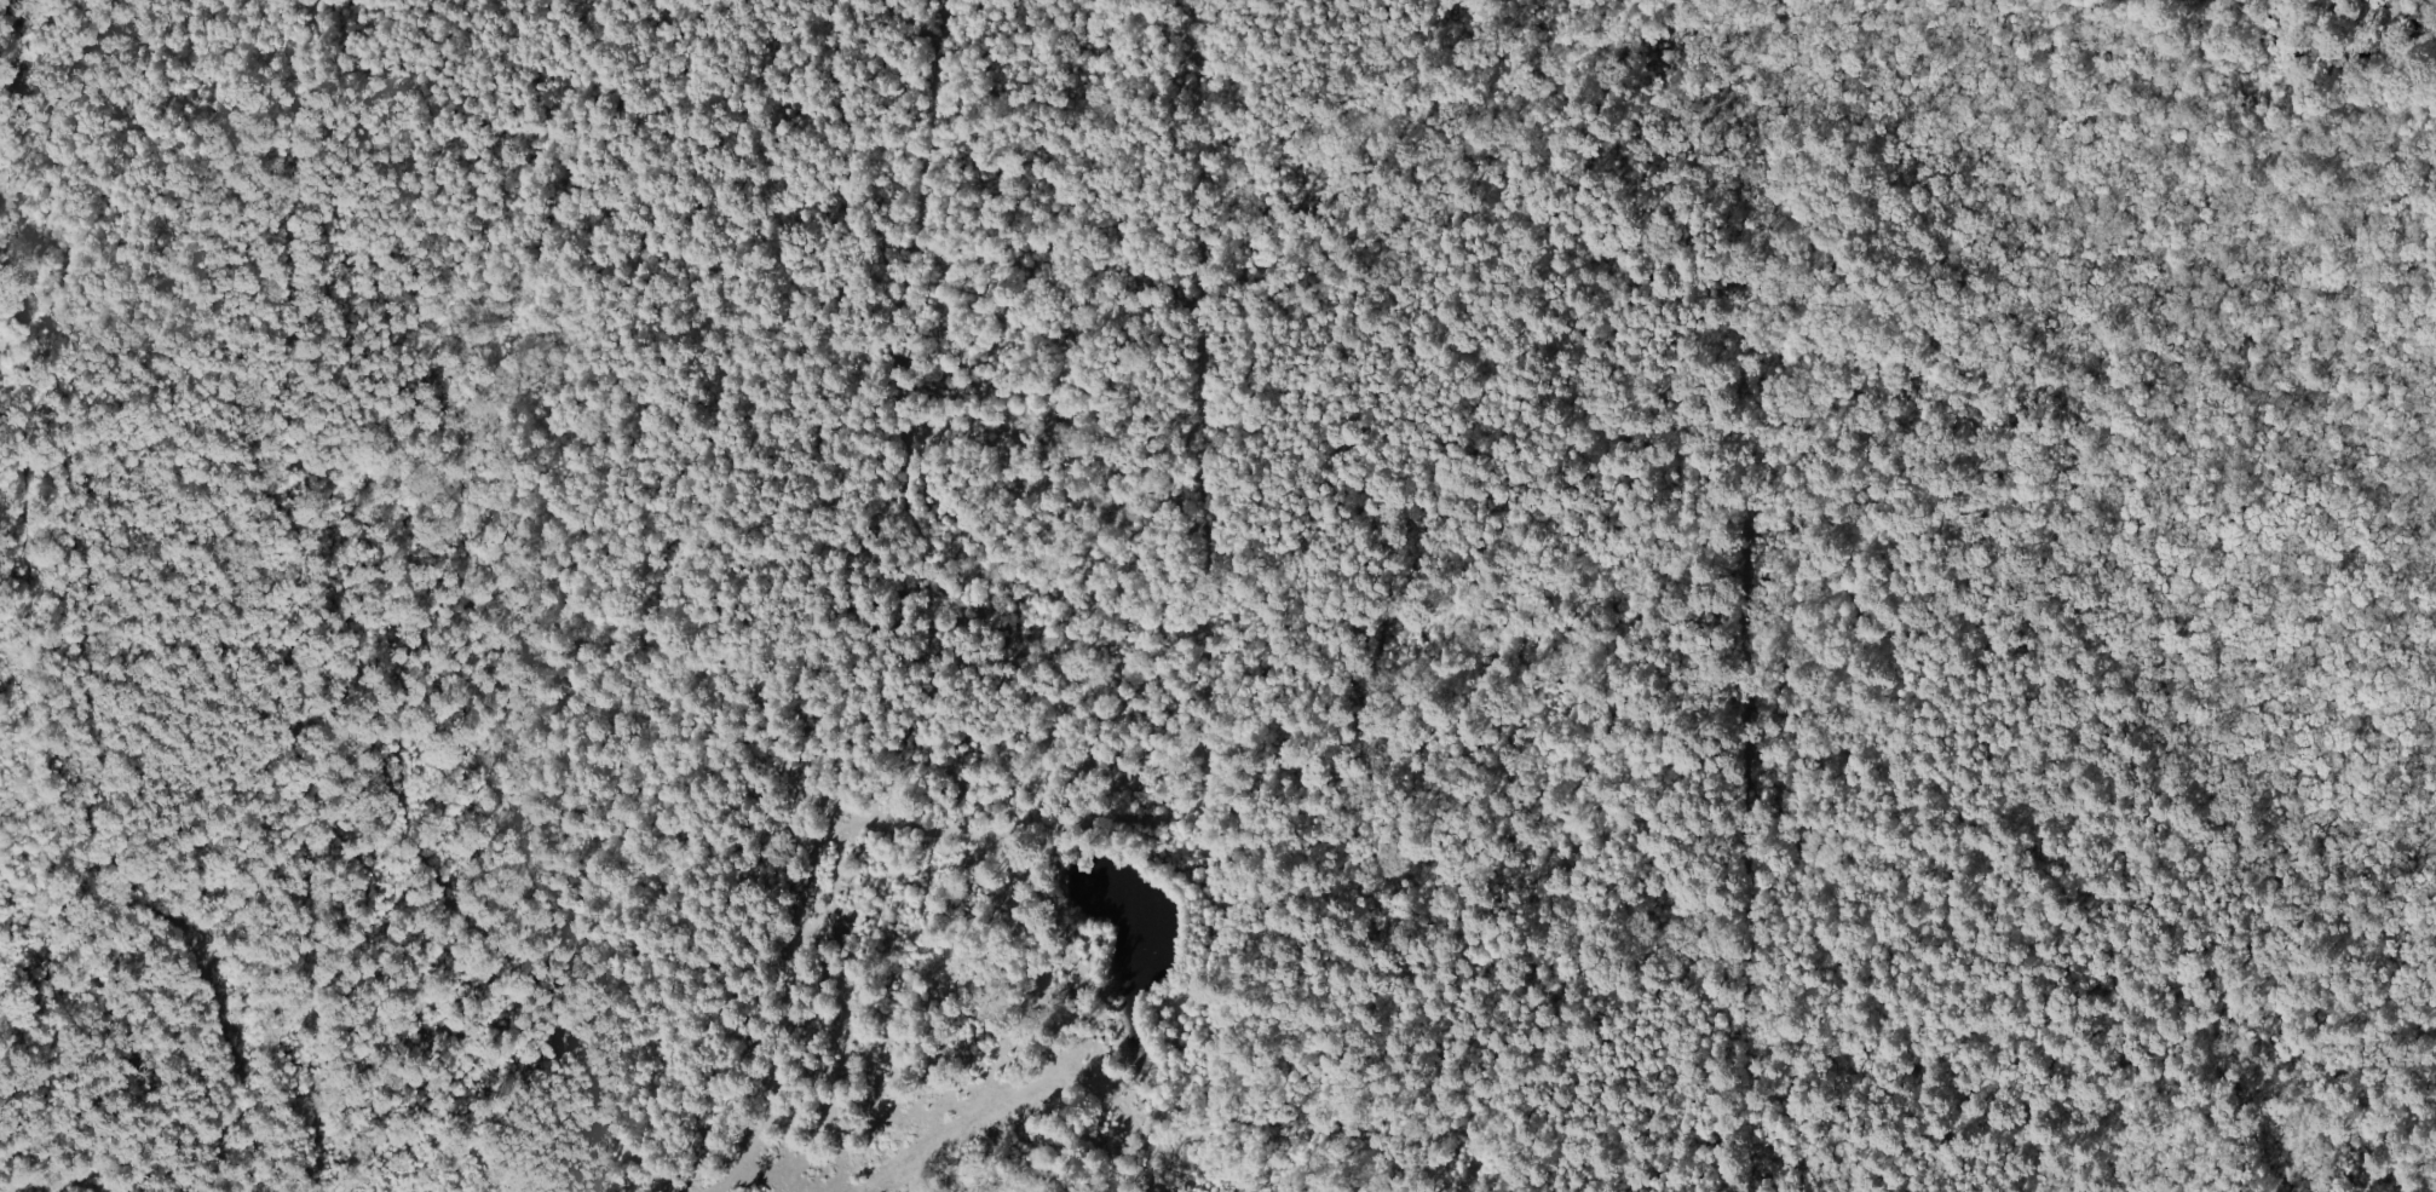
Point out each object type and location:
river: (2330, 190)

